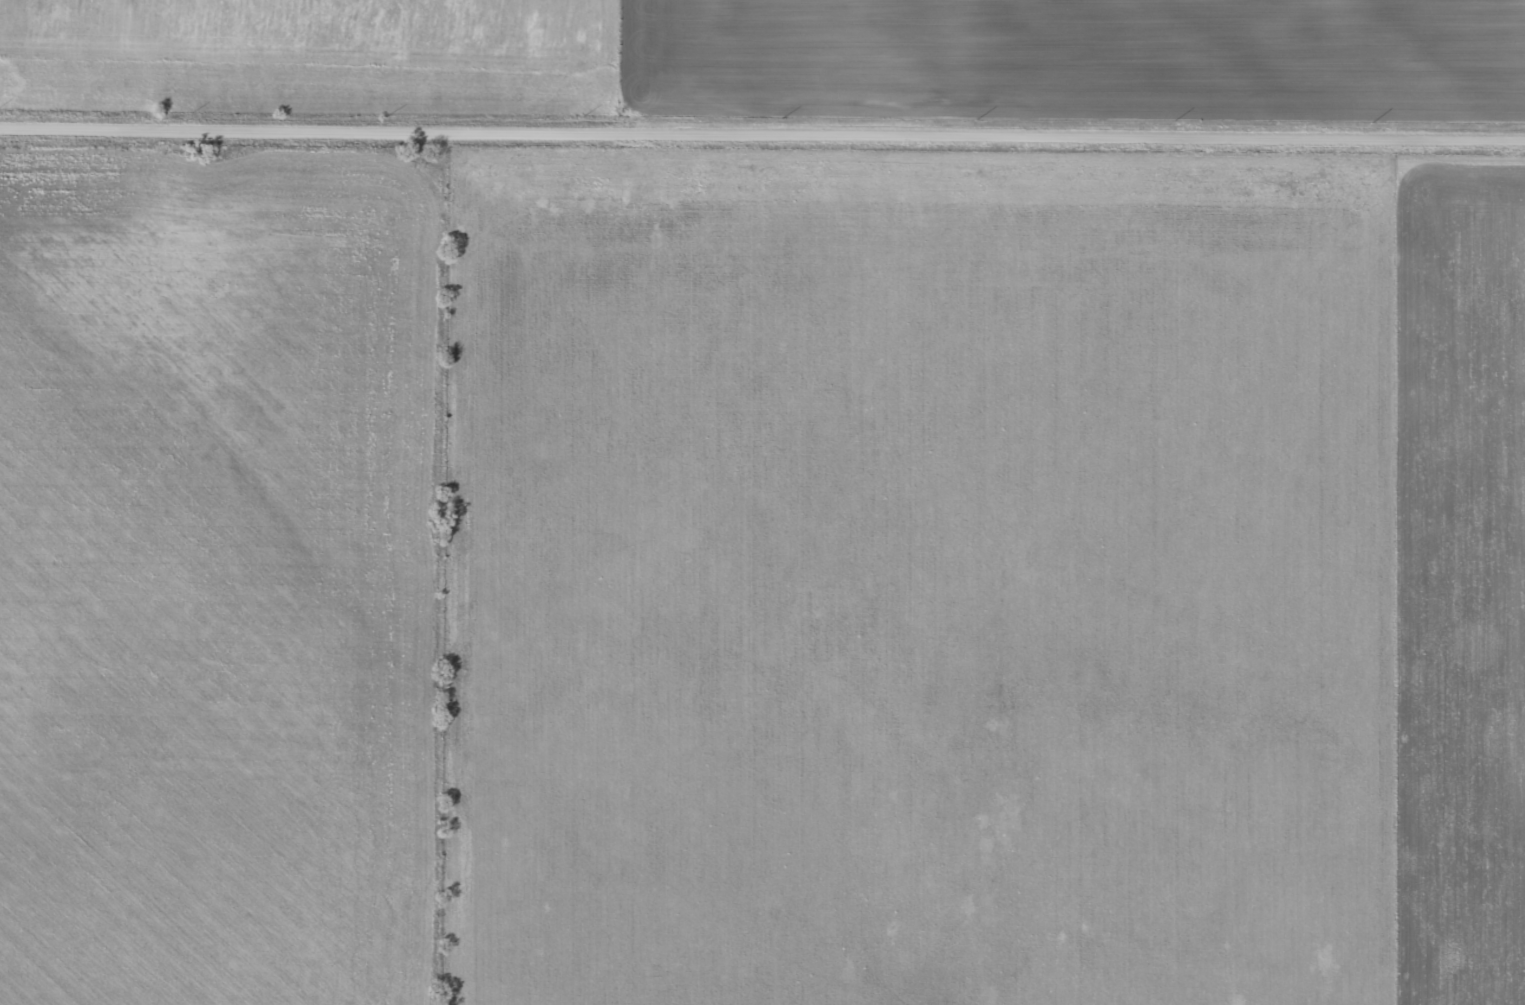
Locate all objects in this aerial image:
road: (762, 163)

